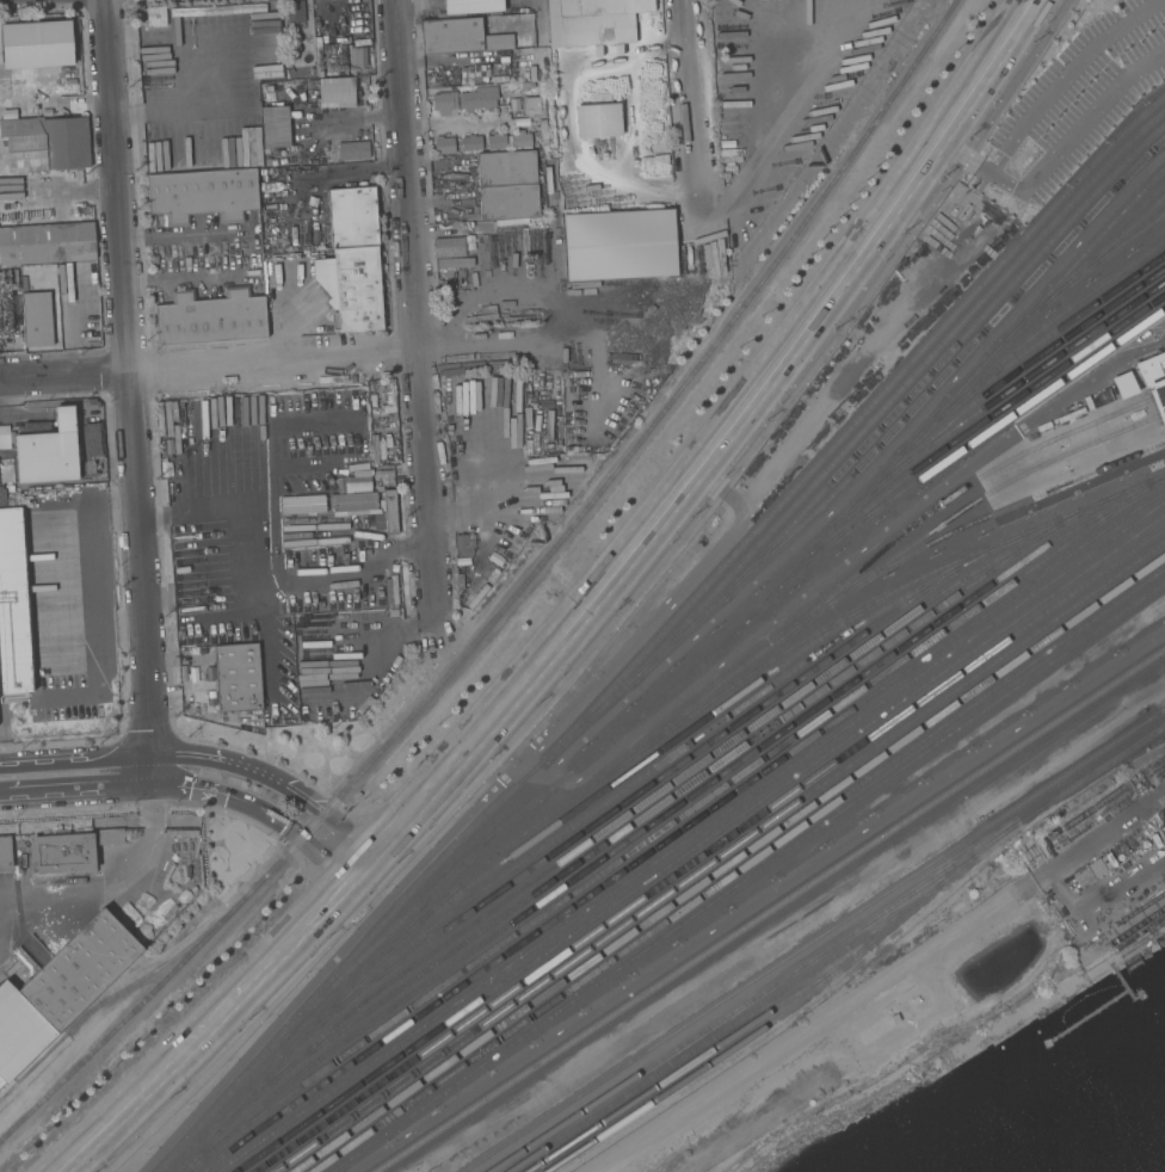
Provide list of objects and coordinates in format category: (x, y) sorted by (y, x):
building: (471, 6)
building: (155, 17)
building: (592, 17)
building: (294, 21)
building: (460, 37)
building: (36, 44)
building: (0, 56)
building: (357, 57)
road: (1064, 76)
building: (499, 80)
building: (442, 82)
building: (300, 85)
building: (514, 87)
parking lot: (1085, 87)
building: (628, 92)
building: (335, 93)
building: (477, 99)
road: (55, 100)
building: (443, 104)
building: (535, 104)
building: (560, 109)
road: (695, 109)
road: (455, 119)
building: (597, 121)
building: (275, 127)
building: (248, 135)
building: (520, 140)
building: (497, 141)
building: (470, 143)
building: (44, 146)
building: (443, 146)
building: (352, 150)
road: (1055, 153)
building: (506, 169)
road: (335, 173)
road: (58, 193)
building: (203, 196)
building: (508, 203)
building: (352, 217)
building: (538, 235)
building: (47, 243)
building: (618, 245)
building: (450, 247)
railway: (1108, 251)
road: (249, 255)
railway: (1081, 269)
building: (357, 290)
road: (415, 306)
building: (210, 317)
building: (37, 320)
railway: (1058, 326)
railway: (1025, 338)
road: (530, 348)
railway: (941, 358)
road: (208, 365)
railway: (1024, 376)
road: (127, 384)
building: (1122, 384)
building: (1154, 384)
railway: (991, 387)
railway: (896, 390)
railway: (1157, 396)
railway: (1160, 414)
railway: (851, 424)
railway: (991, 427)
railway: (956, 436)
building: (48, 452)
railway: (950, 494)
building: (353, 504)
building: (301, 505)
railway: (999, 511)
building: (389, 512)
road: (201, 516)
road: (266, 541)
building: (464, 544)
railway: (880, 565)
road: (92, 570)
railway: (511, 597)
building: (12, 607)
road: (574, 613)
railway: (744, 622)
railway: (658, 653)
building: (236, 678)
railway: (729, 686)
railway: (636, 766)
road: (51, 773)
railway: (643, 775)
road: (242, 783)
railway: (649, 783)
railway: (655, 792)
railway: (661, 801)
railway: (665, 812)
railway: (674, 819)
railway: (682, 827)
railway: (689, 835)
railway: (699, 841)
railway: (709, 849)
building: (67, 851)
building: (5, 852)
railway: (717, 856)
railway: (727, 862)
railway: (738, 869)
road: (1054, 874)
railway: (747, 876)
building: (1083, 877)
road: (107, 884)
railway: (769, 909)
railway: (813, 939)
railway: (826, 948)
building: (1114, 950)
building: (66, 987)
railway: (105, 1000)
railway: (790, 1010)
railway: (320, 1017)
railway: (721, 1034)
railway: (692, 1063)

